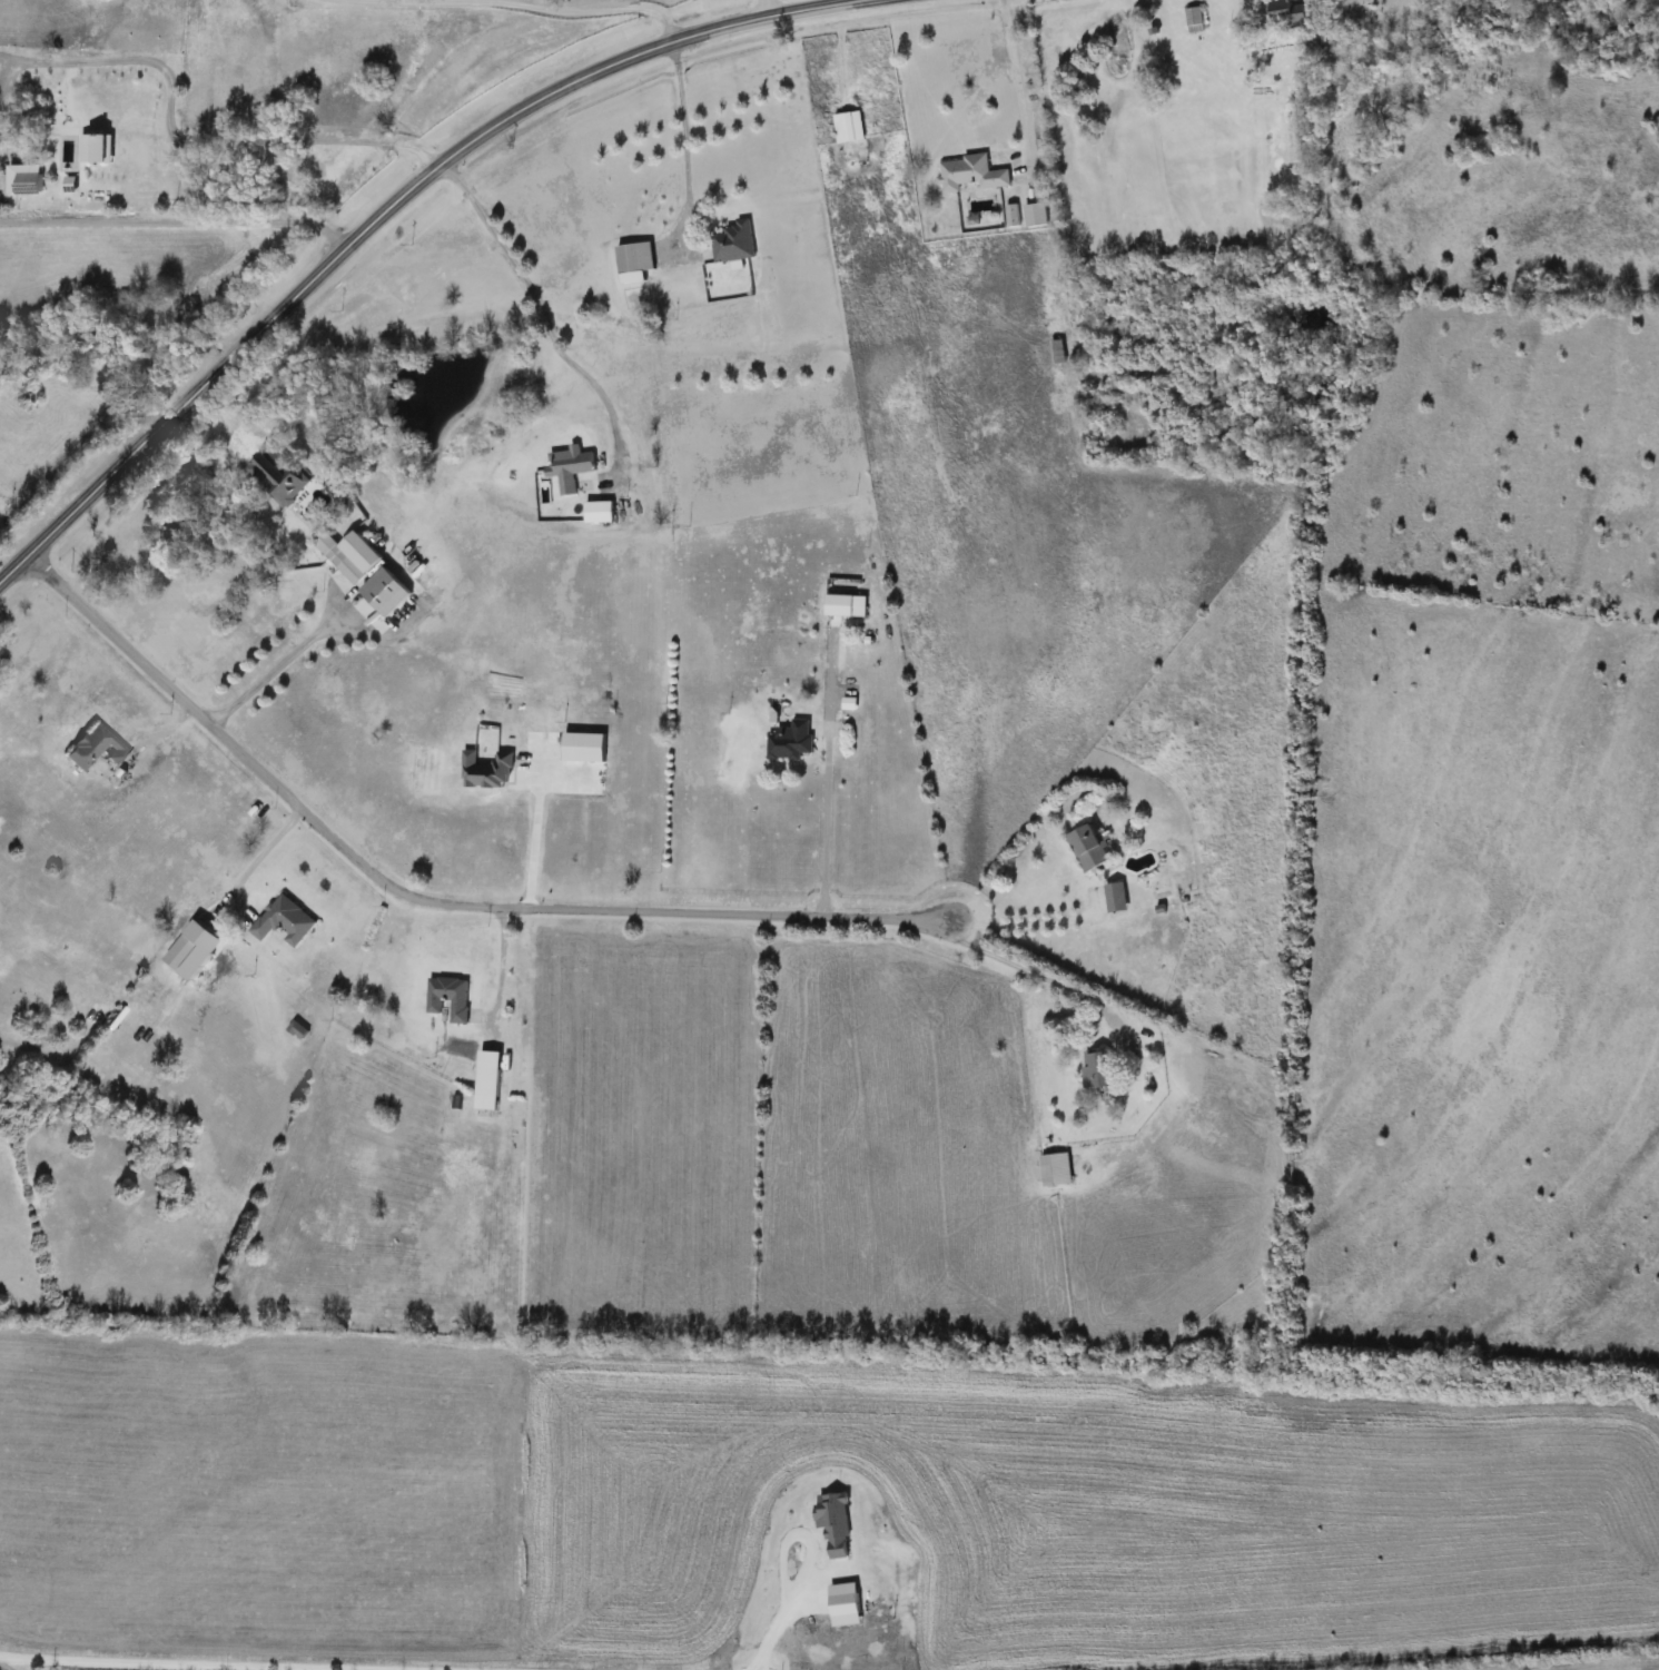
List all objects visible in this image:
road: (769, 7)
road: (587, 9)
building: (1293, 13)
building: (1196, 20)
road: (1017, 78)
road: (682, 119)
building: (850, 128)
road: (190, 142)
building: (972, 176)
road: (382, 213)
building: (1037, 216)
road: (175, 223)
building: (734, 244)
building: (635, 263)
road: (546, 325)
building: (1058, 353)
building: (570, 467)
building: (289, 484)
building: (600, 513)
building: (172, 528)
building: (342, 559)
building: (387, 592)
building: (847, 605)
road: (282, 663)
building: (791, 741)
building: (585, 748)
building: (96, 749)
building: (488, 772)
road: (818, 789)
road: (535, 834)
building: (1089, 849)
road: (263, 851)
building: (1117, 898)
road: (423, 899)
road: (1035, 920)
building: (285, 922)
building: (185, 953)
road: (491, 965)
road: (1043, 976)
building: (450, 999)
building: (1097, 1070)
building: (487, 1110)
building: (1057, 1170)
road: (792, 1532)
road: (767, 1633)
road: (203, 1663)
road: (1, 1668)

